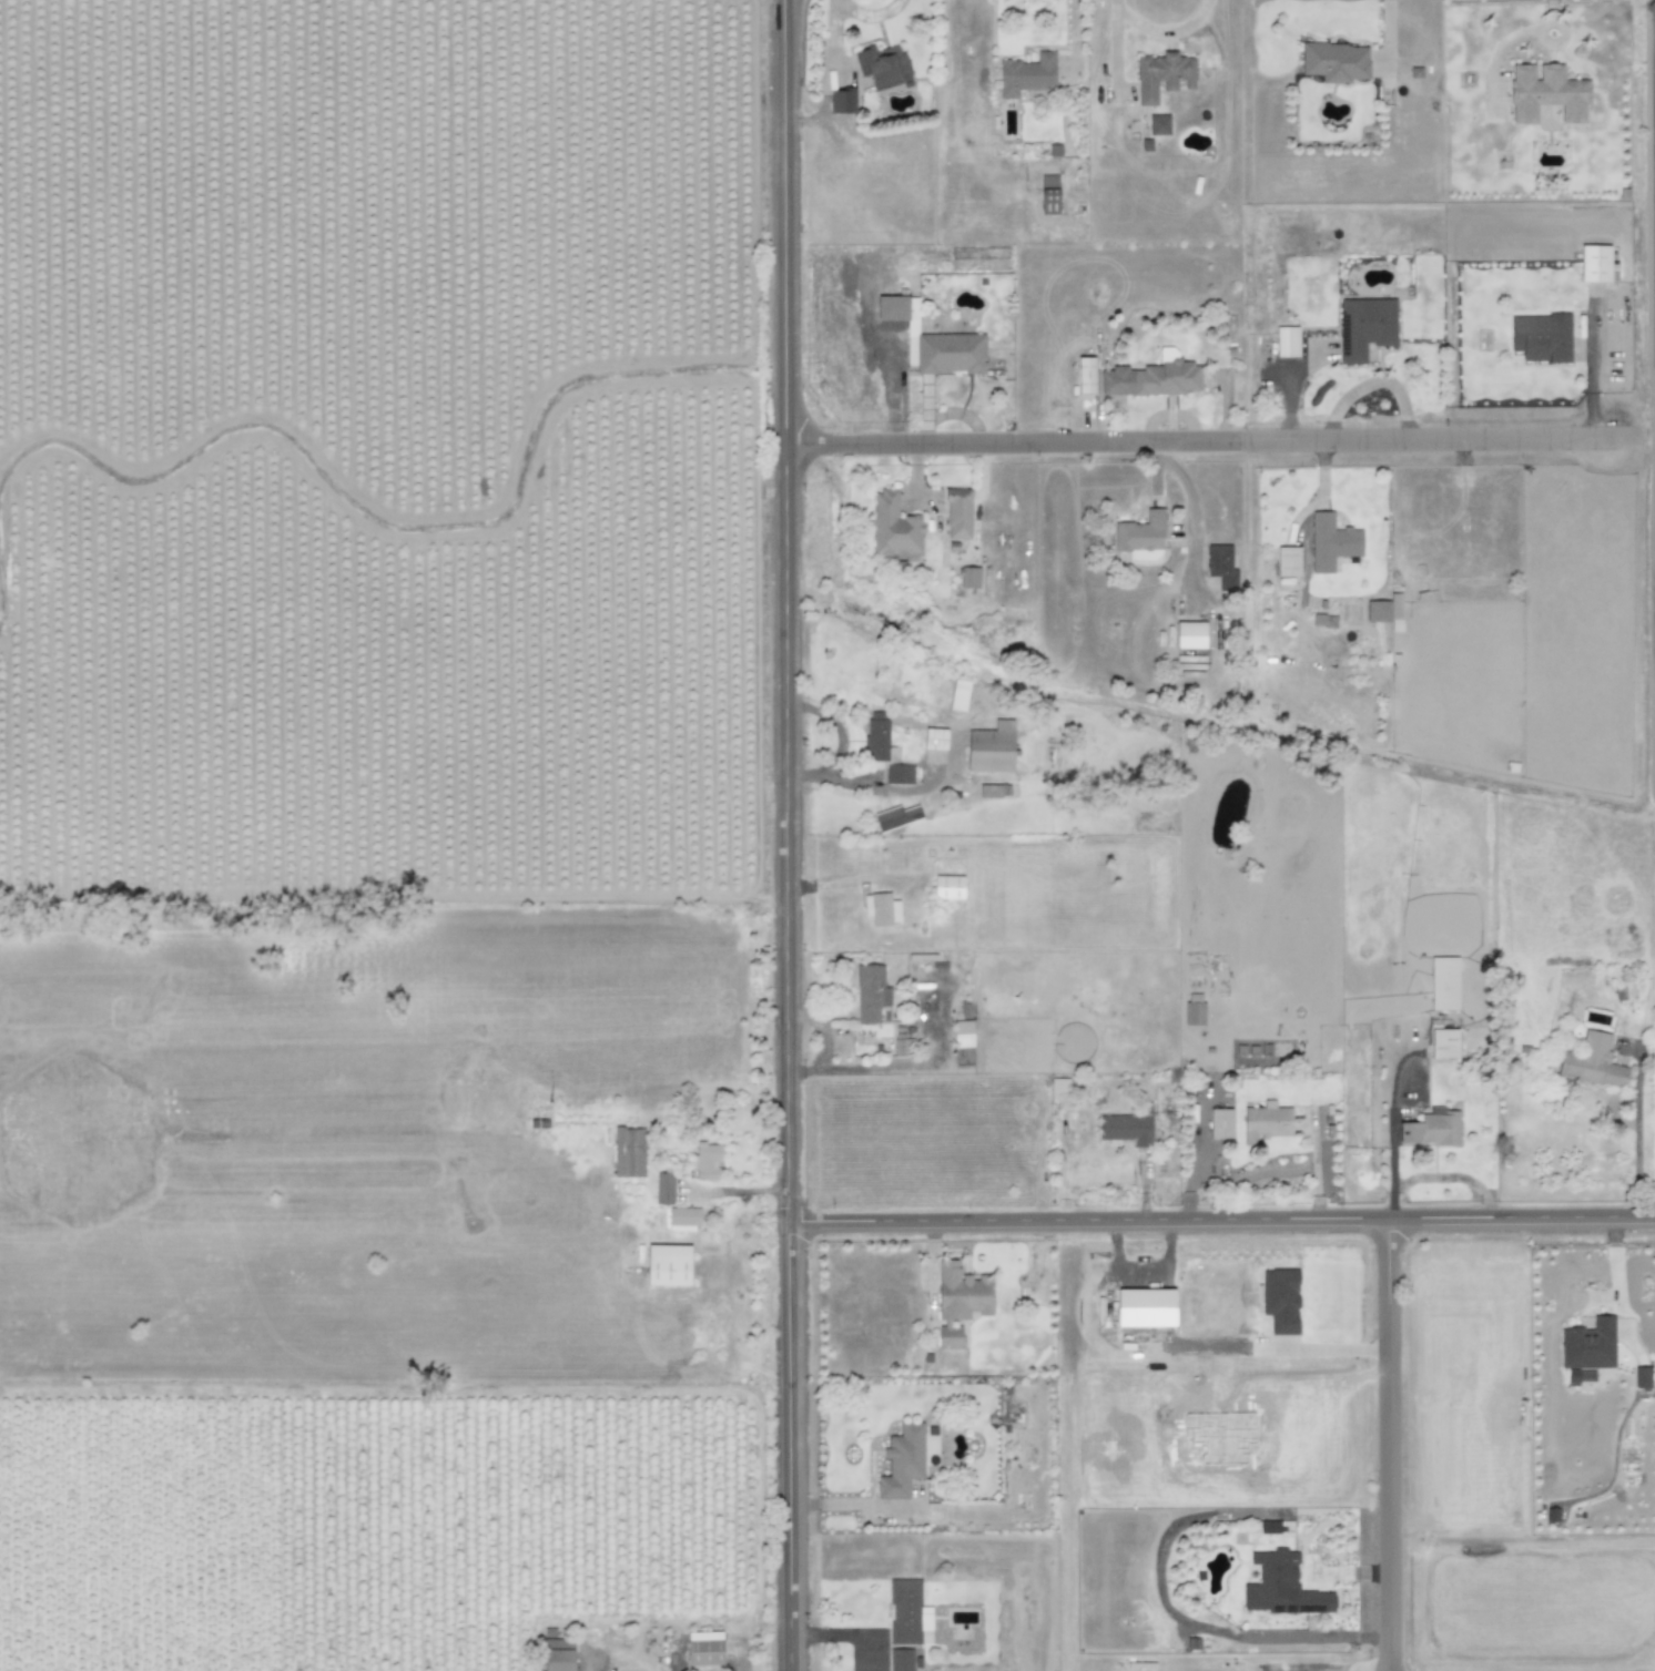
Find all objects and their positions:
building: (1336, 60)
building: (883, 64)
building: (1026, 73)
building: (1162, 74)
building: (1546, 92)
building: (842, 99)
building: (1158, 123)
building: (1048, 193)
building: (1595, 262)
building: (891, 307)
building: (1364, 326)
building: (1541, 336)
building: (1287, 340)
building: (950, 351)
building: (1085, 374)
building: (1166, 375)
road: (1590, 380)
road: (1197, 440)
road: (1196, 506)
building: (957, 511)
building: (893, 524)
building: (1141, 537)
building: (1331, 541)
building: (1287, 560)
building: (1220, 564)
building: (968, 575)
crop: (1533, 577)
building: (1384, 608)
building: (1190, 634)
building: (958, 693)
building: (879, 737)
building: (935, 737)
building: (992, 746)
building: (900, 772)
building: (895, 816)
road: (788, 835)
crop: (400, 836)
building: (948, 886)
building: (882, 907)
building: (1443, 982)
building: (871, 991)
building: (1194, 1012)
building: (963, 1032)
building: (1443, 1042)
building: (903, 1046)
building: (1592, 1060)
building: (1059, 1088)
building: (1220, 1122)
building: (1266, 1122)
building: (1128, 1125)
building: (1431, 1127)
building: (628, 1151)
building: (707, 1160)
building: (663, 1186)
road: (735, 1189)
building: (683, 1216)
road: (1222, 1217)
building: (668, 1263)
road: (1617, 1277)
building: (1280, 1298)
building: (958, 1300)
building: (1144, 1306)
building: (1588, 1344)
road: (1326, 1347)
building: (1642, 1376)
road: (1385, 1444)
crop: (1360, 1454)
building: (902, 1460)
building: (1281, 1586)
building: (907, 1611)
road: (850, 1634)
building: (704, 1647)
building: (558, 1654)
building: (901, 1659)

